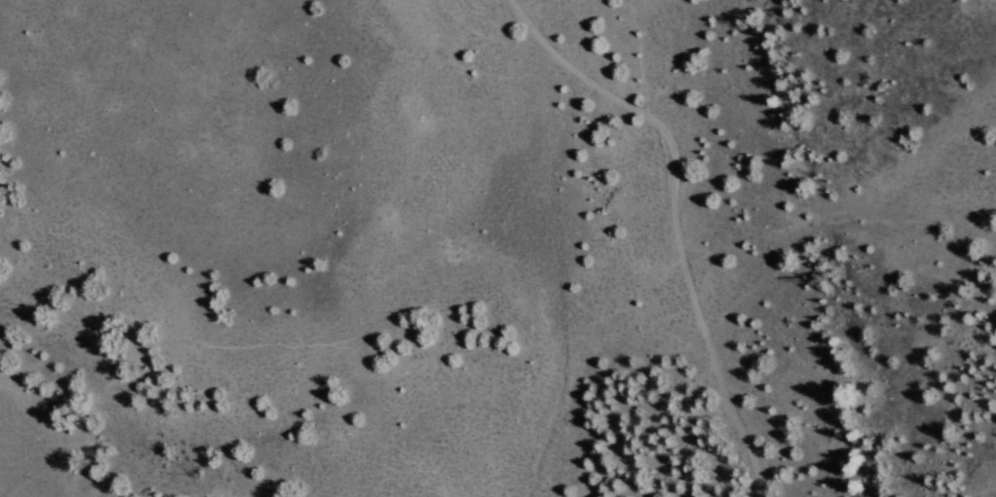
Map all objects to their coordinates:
road: (675, 215)

